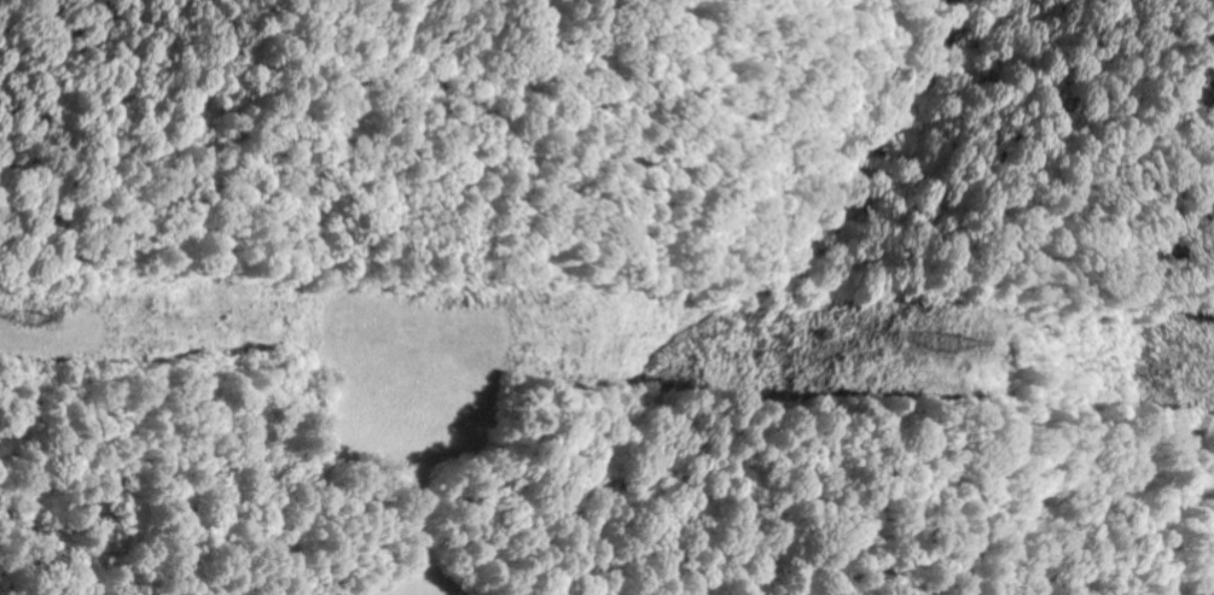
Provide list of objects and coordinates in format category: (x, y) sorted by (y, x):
power tower: (29, 317)
power tower: (936, 348)

